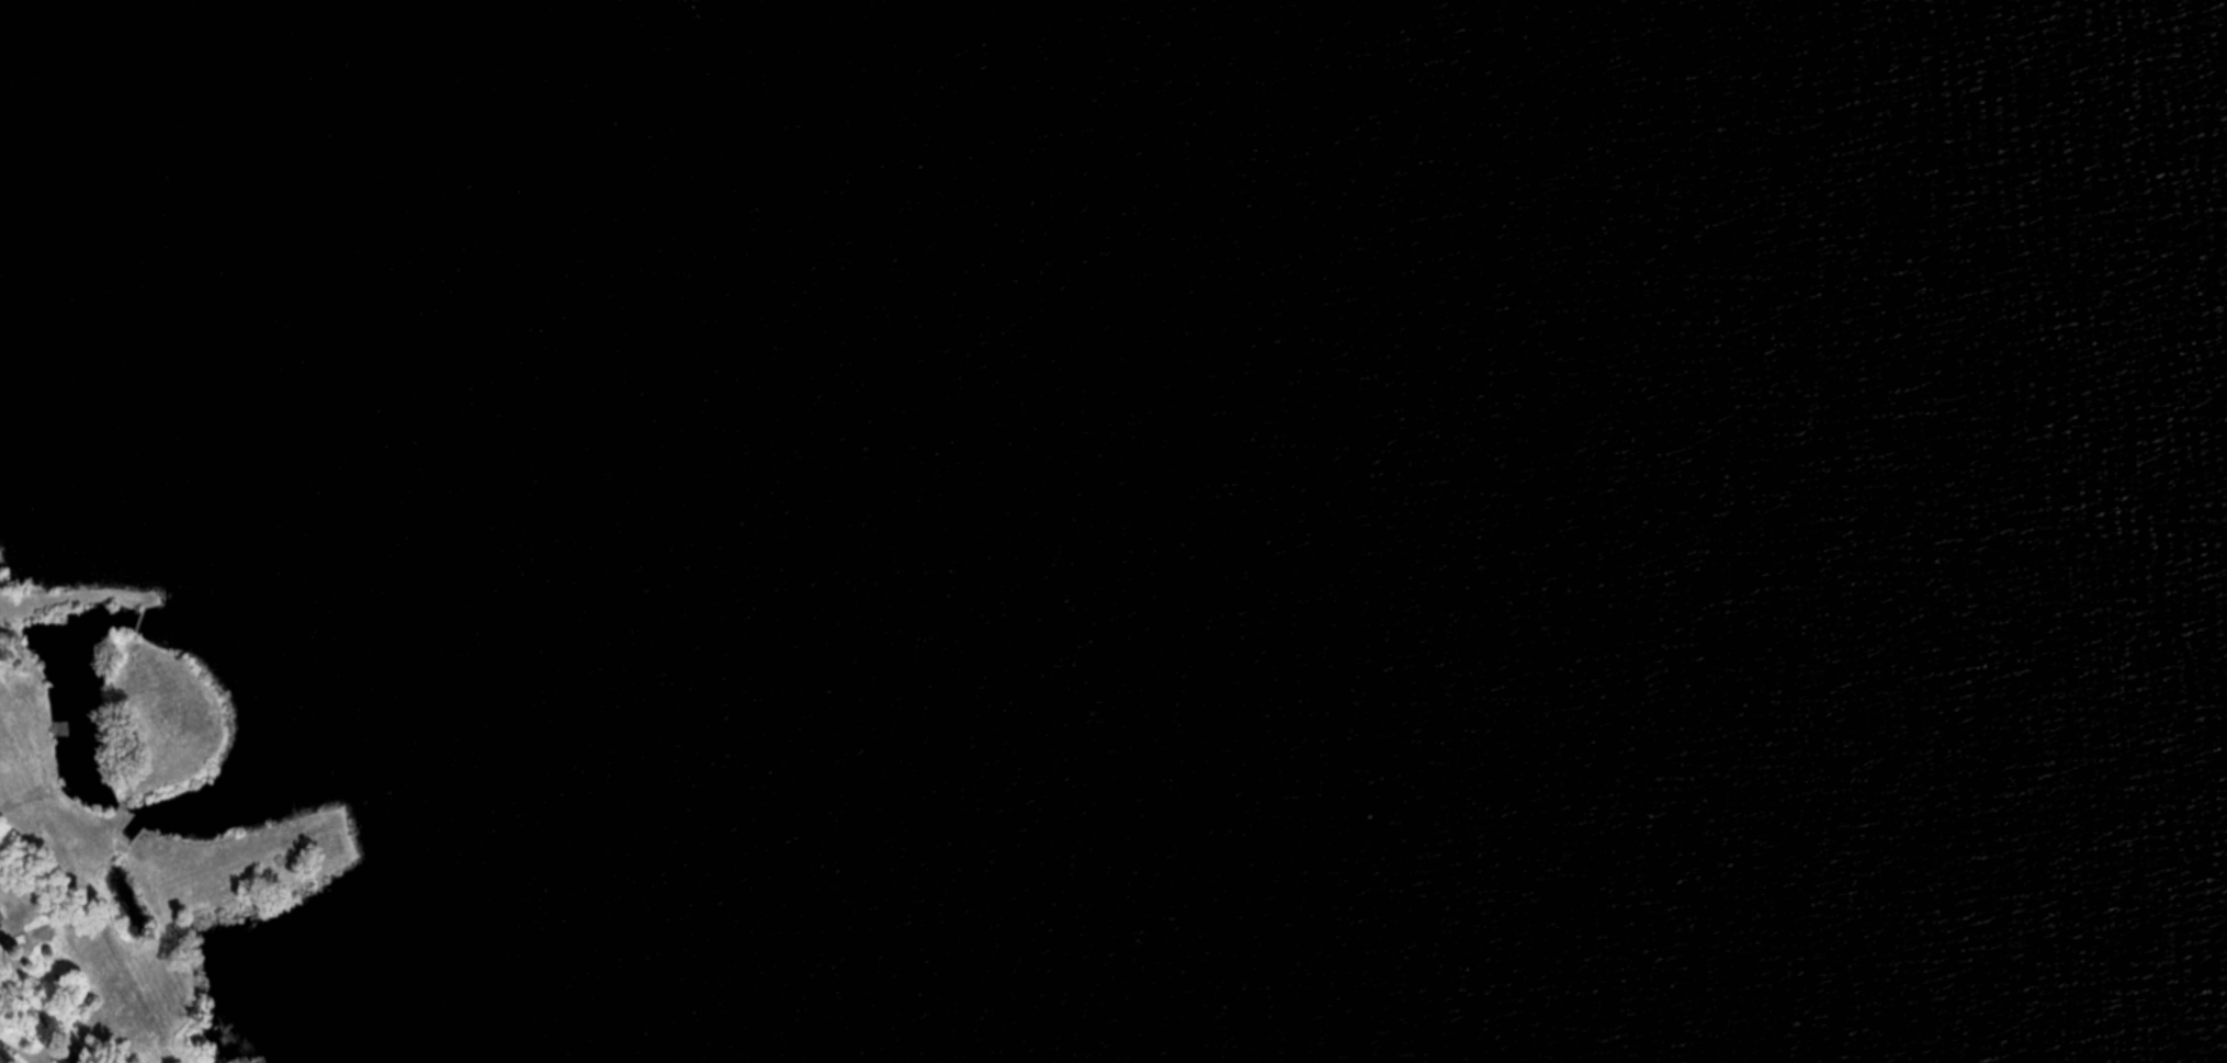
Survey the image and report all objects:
building: (1, 925)
building: (77, 1056)

